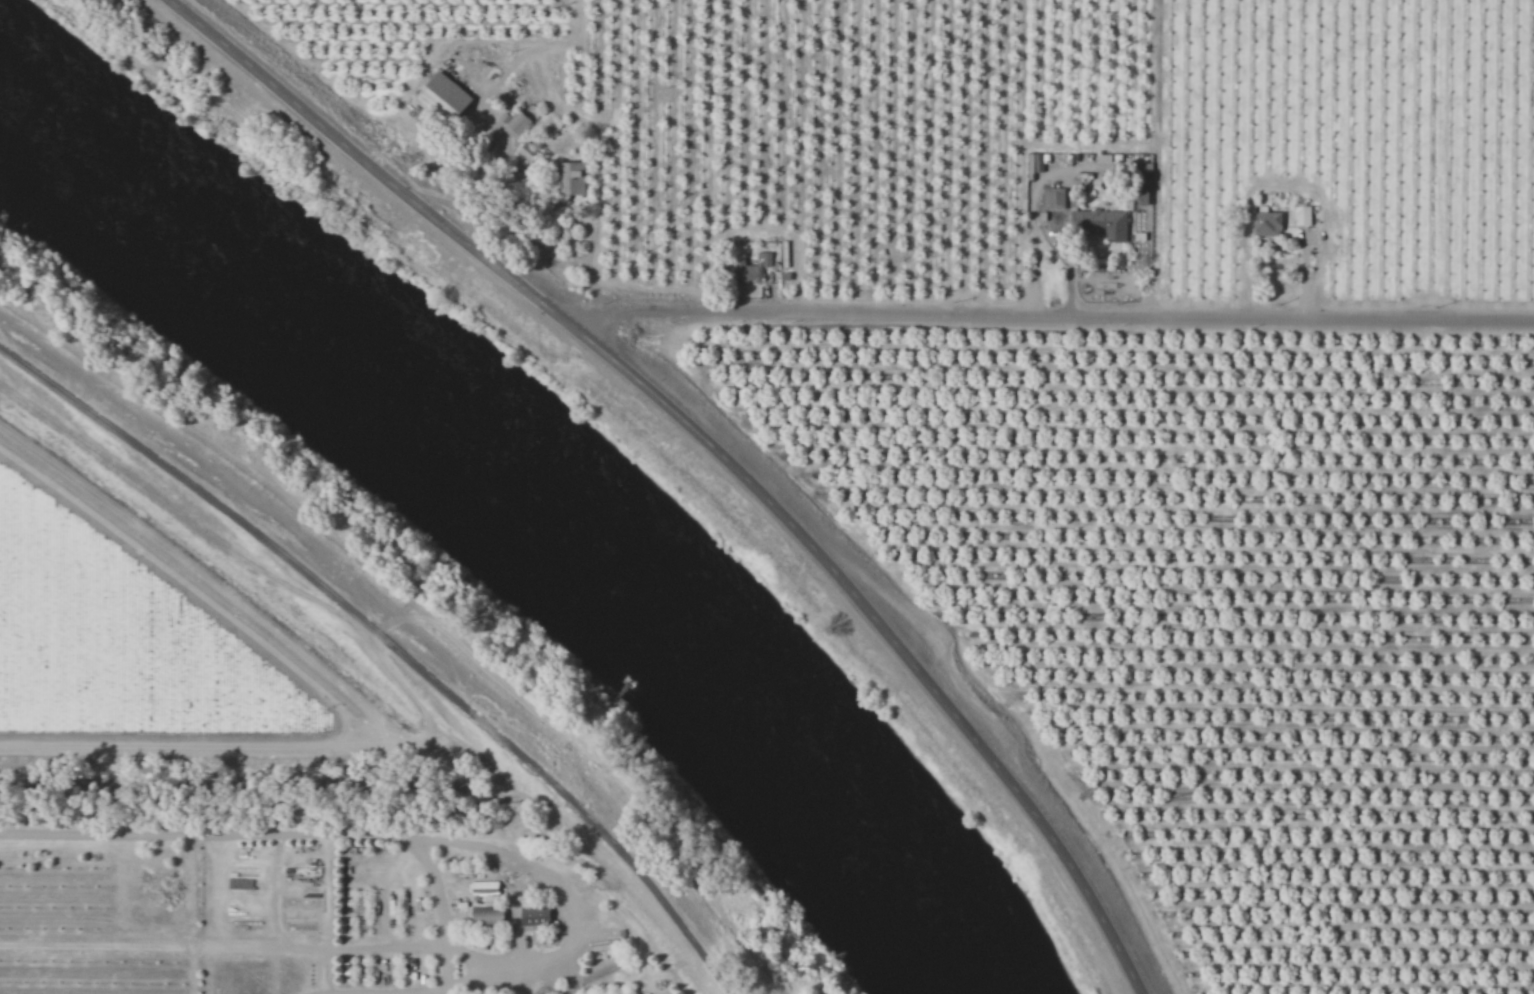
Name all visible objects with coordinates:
building: (449, 97)
building: (574, 179)
building: (1143, 196)
building: (1054, 198)
building: (1303, 215)
building: (1266, 223)
building: (1106, 224)
building: (751, 268)
road: (1056, 314)
road: (713, 444)
river: (541, 482)
road: (388, 647)
road: (161, 751)
road: (342, 837)
building: (488, 889)
road: (560, 892)
building: (490, 916)
building: (539, 920)

